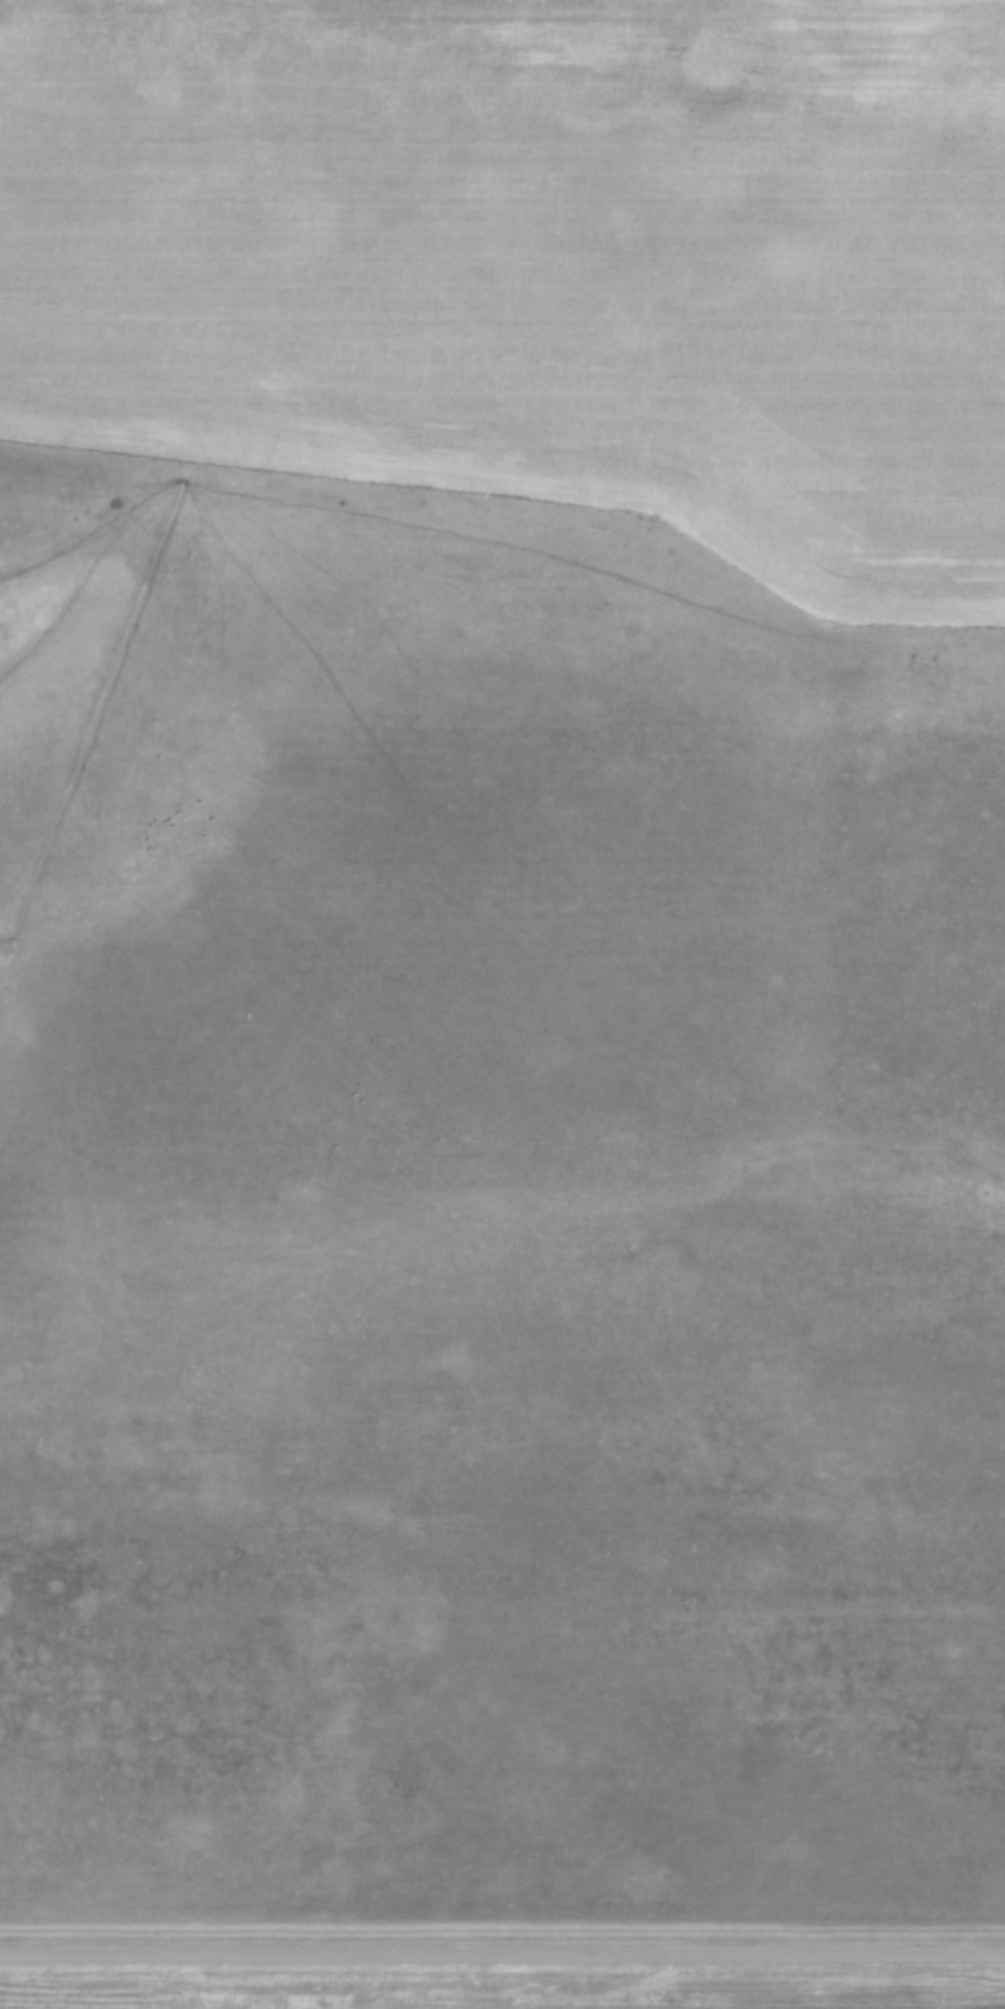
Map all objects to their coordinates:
road: (502, 1953)

